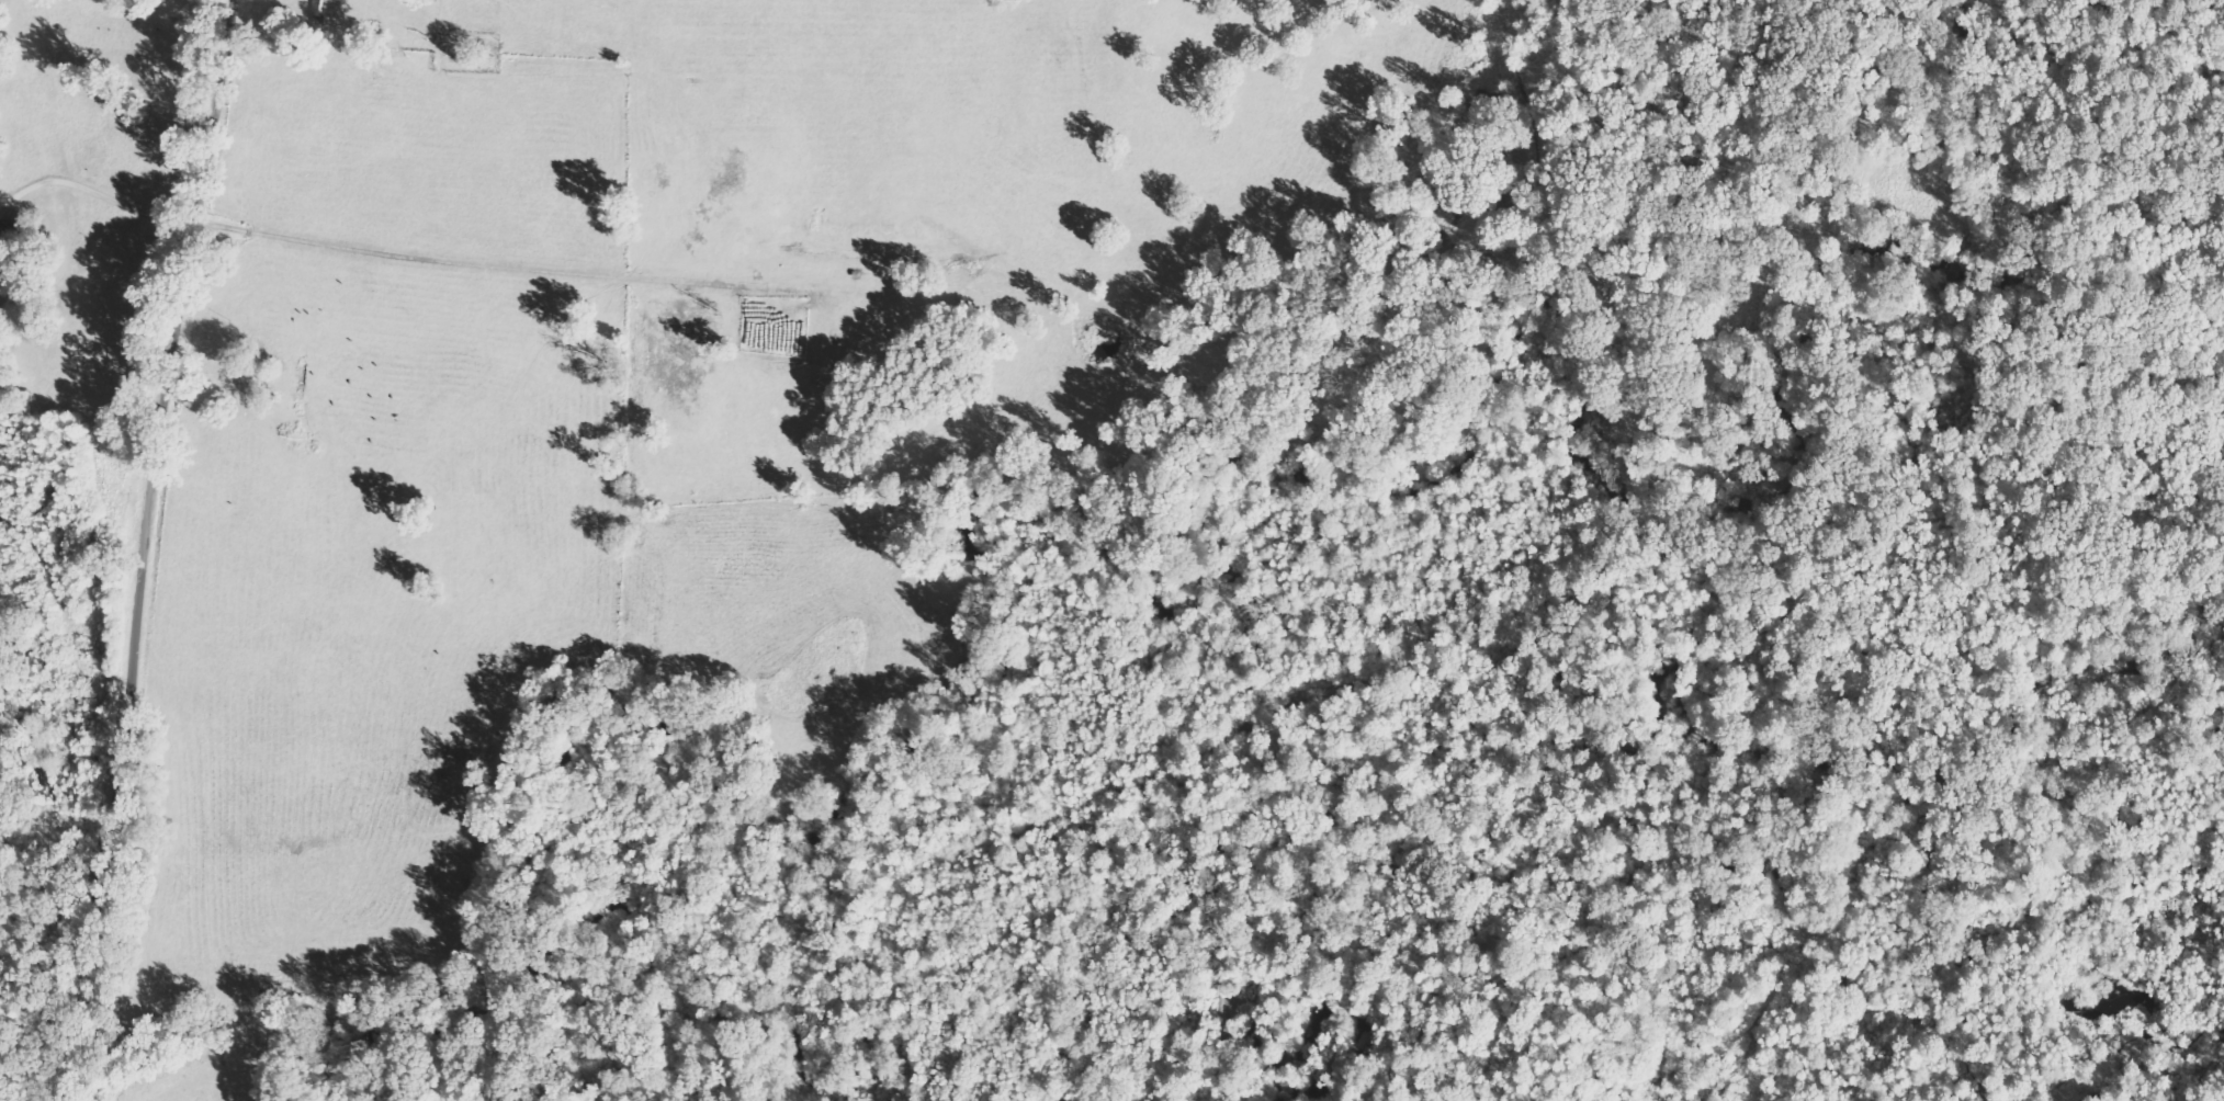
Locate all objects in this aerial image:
building: (332, 5)
road: (145, 553)

